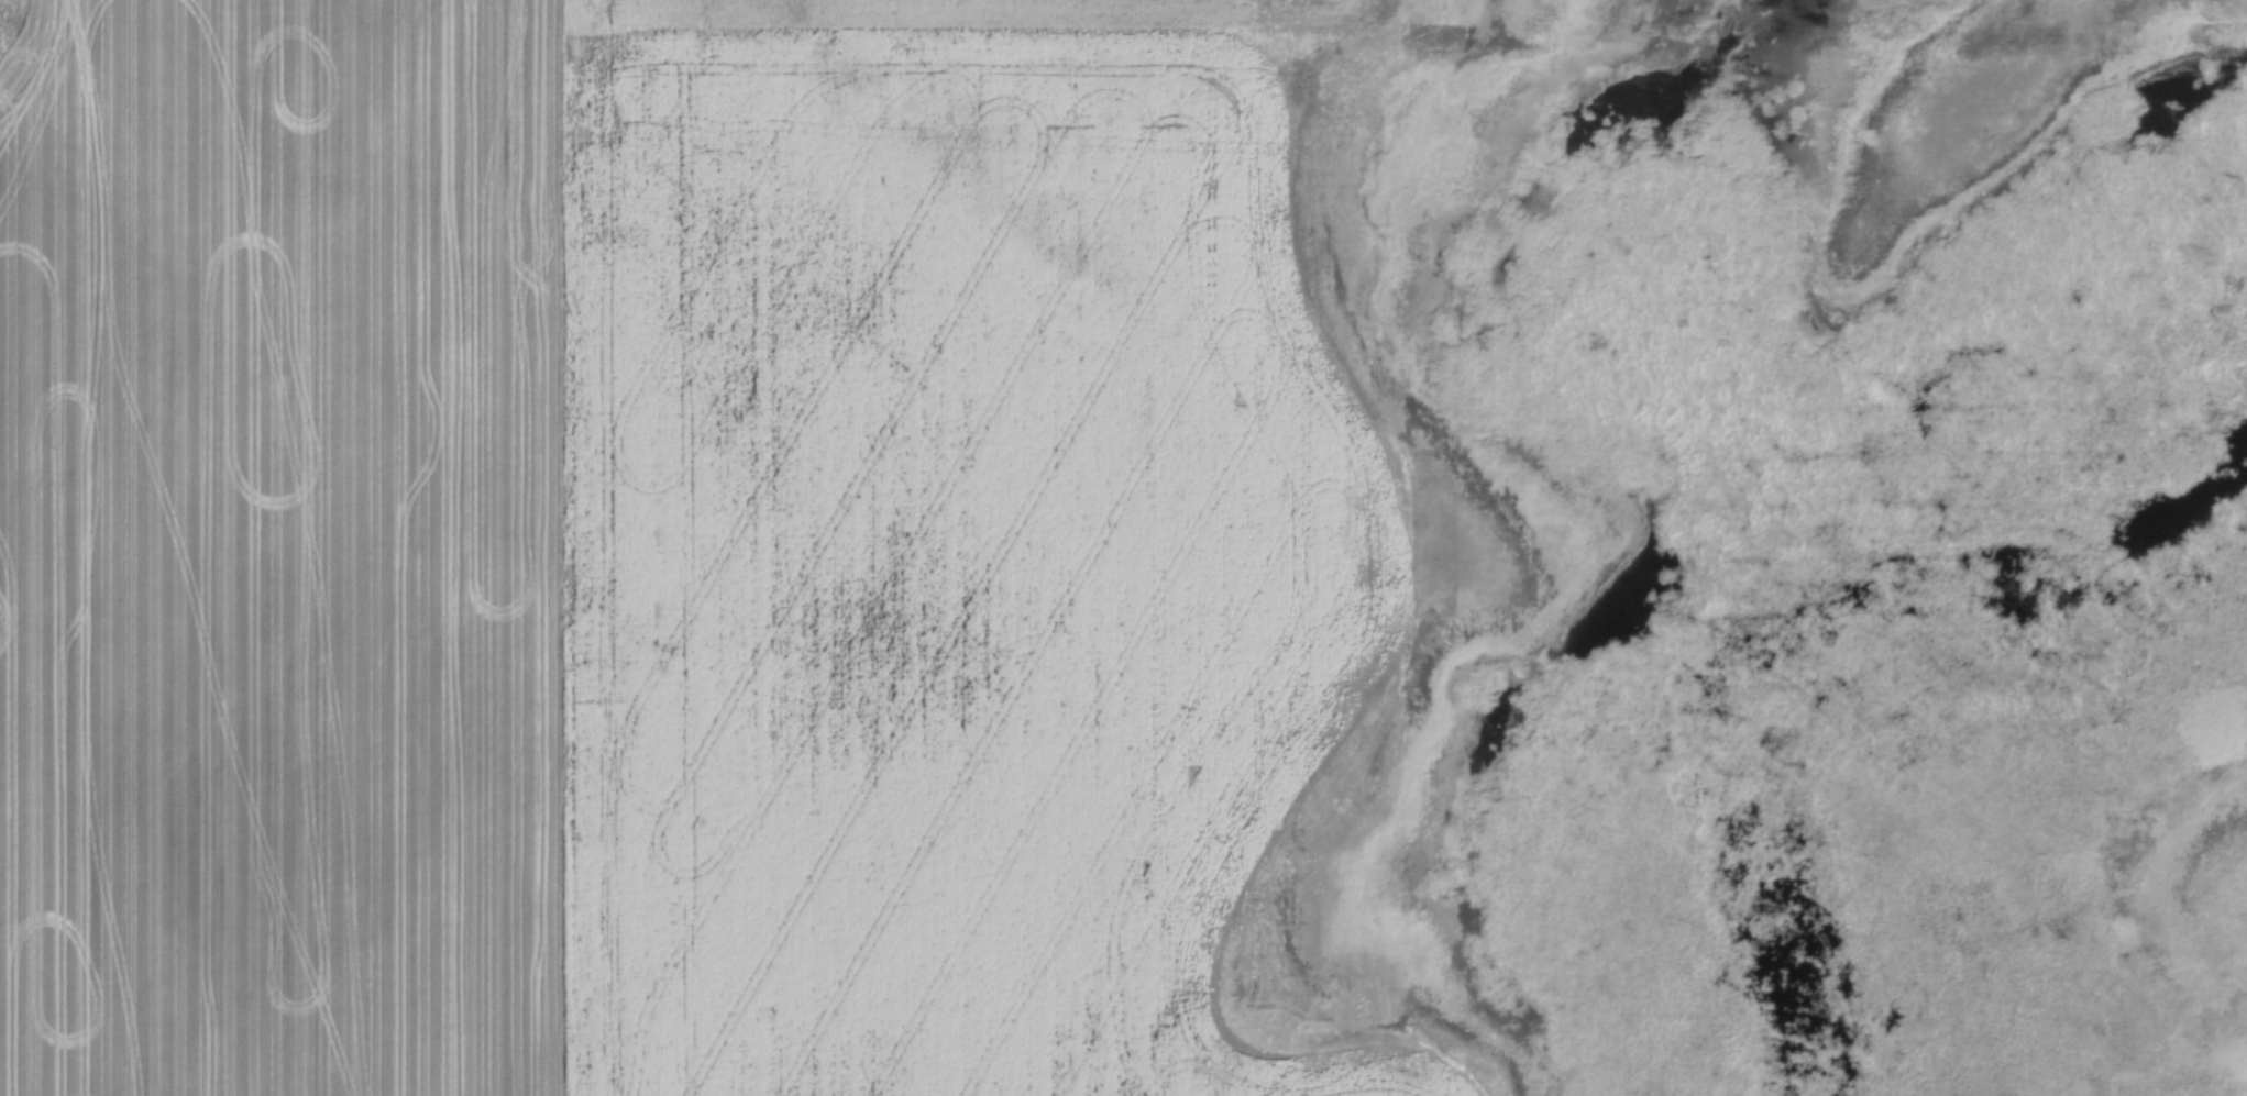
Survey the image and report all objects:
road: (566, 547)

